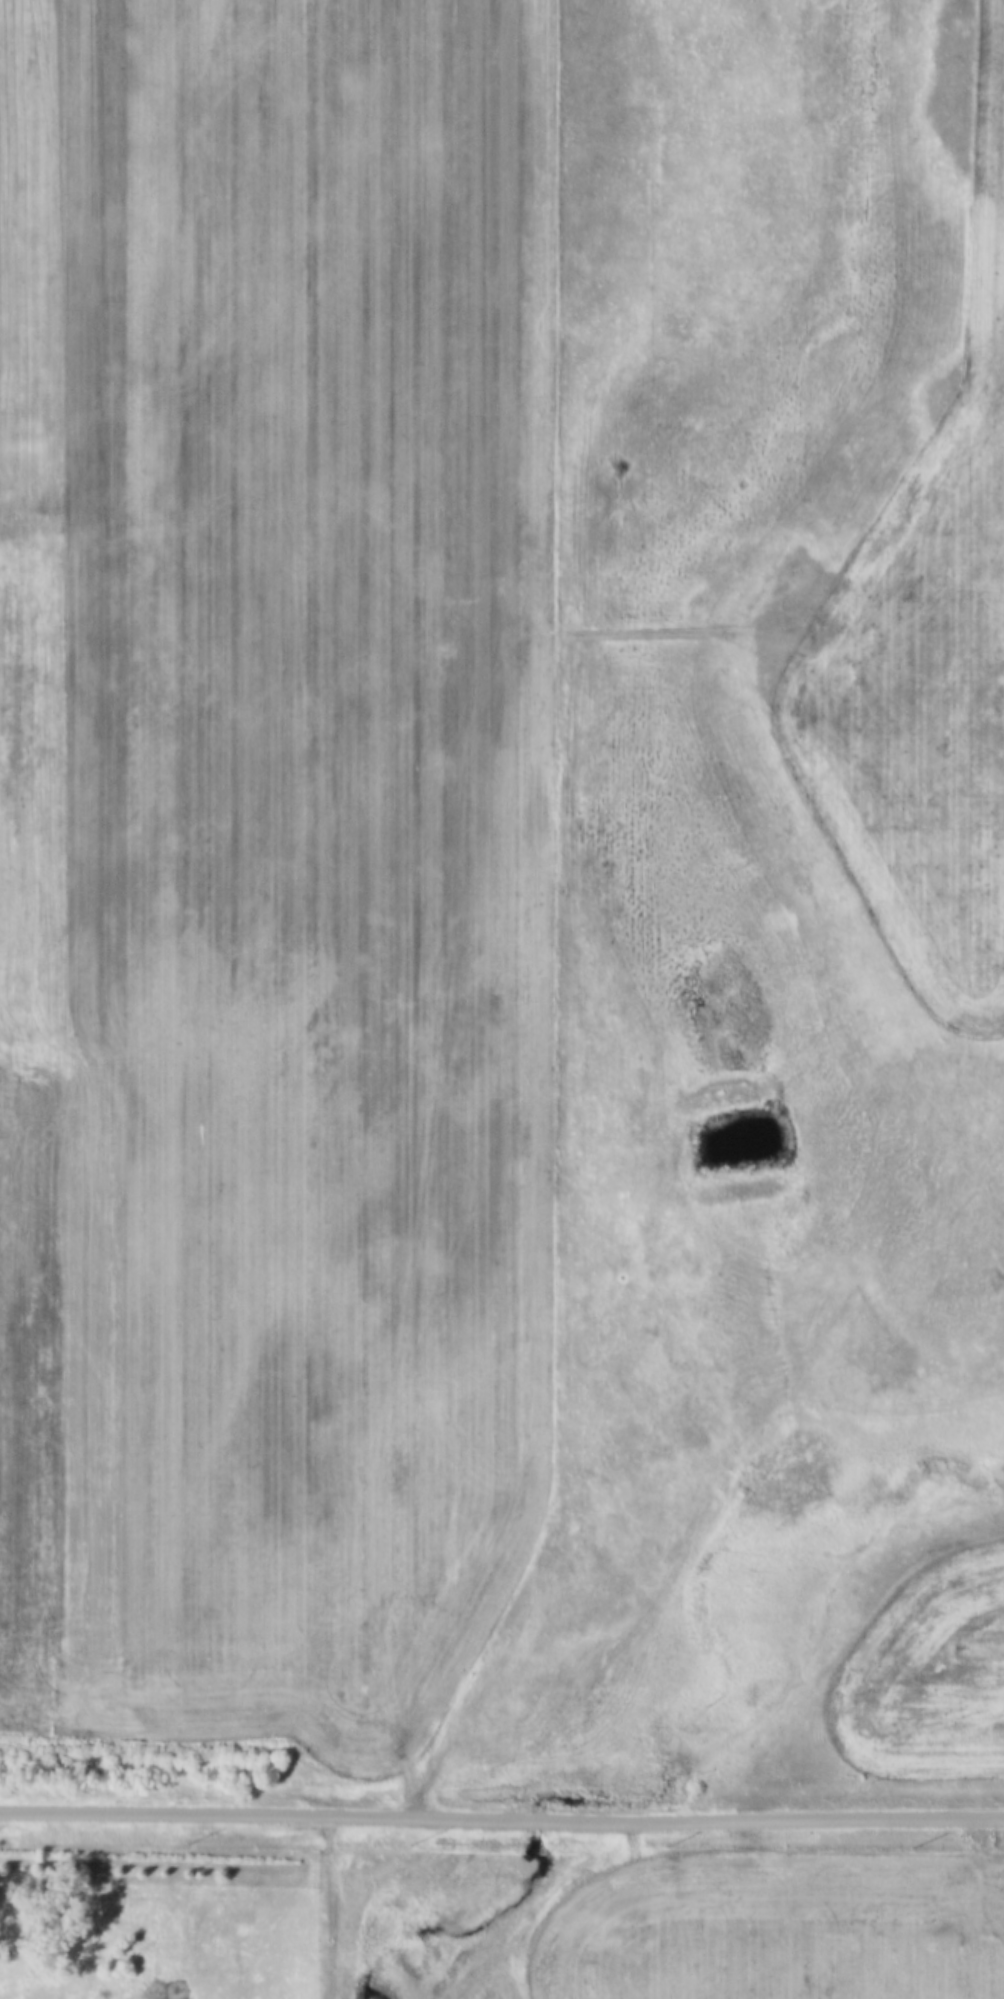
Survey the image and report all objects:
road: (501, 1814)

